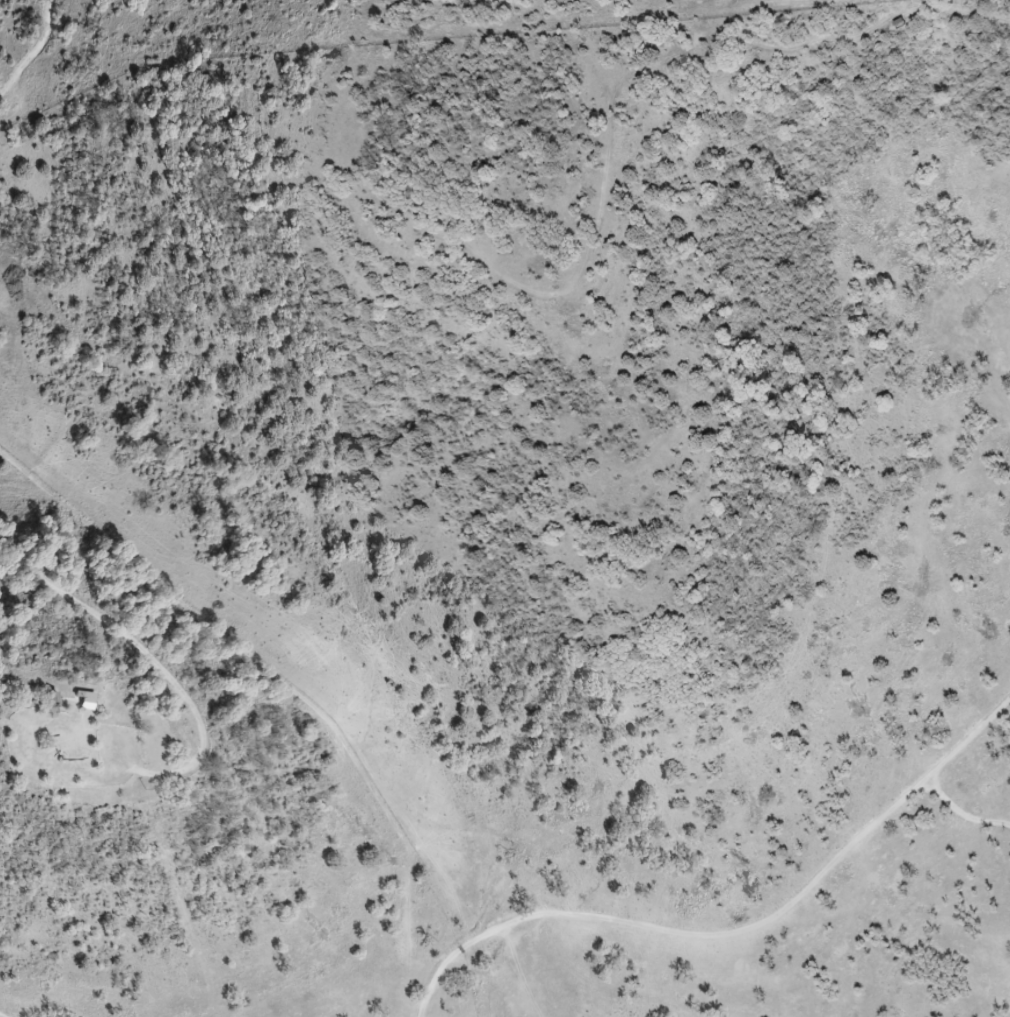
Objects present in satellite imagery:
building: (56, 699)
building: (90, 699)
road: (962, 811)
road: (750, 932)

